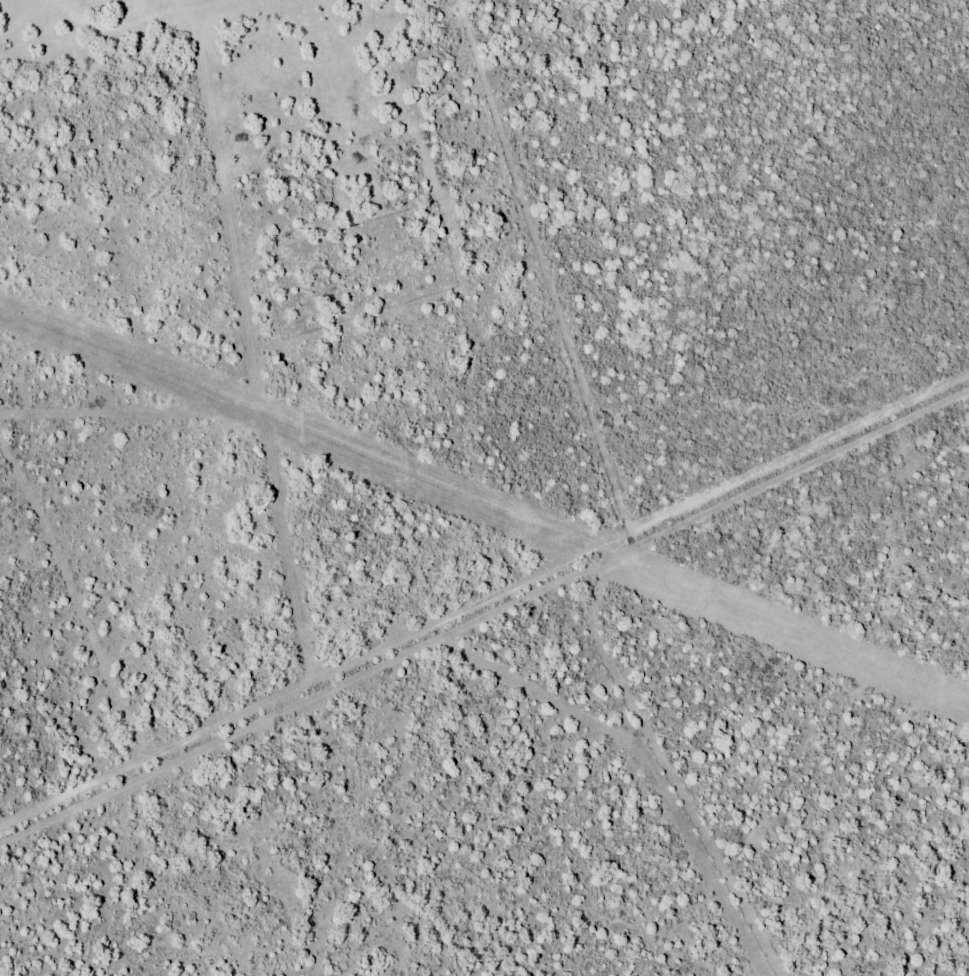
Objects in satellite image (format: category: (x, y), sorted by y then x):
road: (490, 665)

